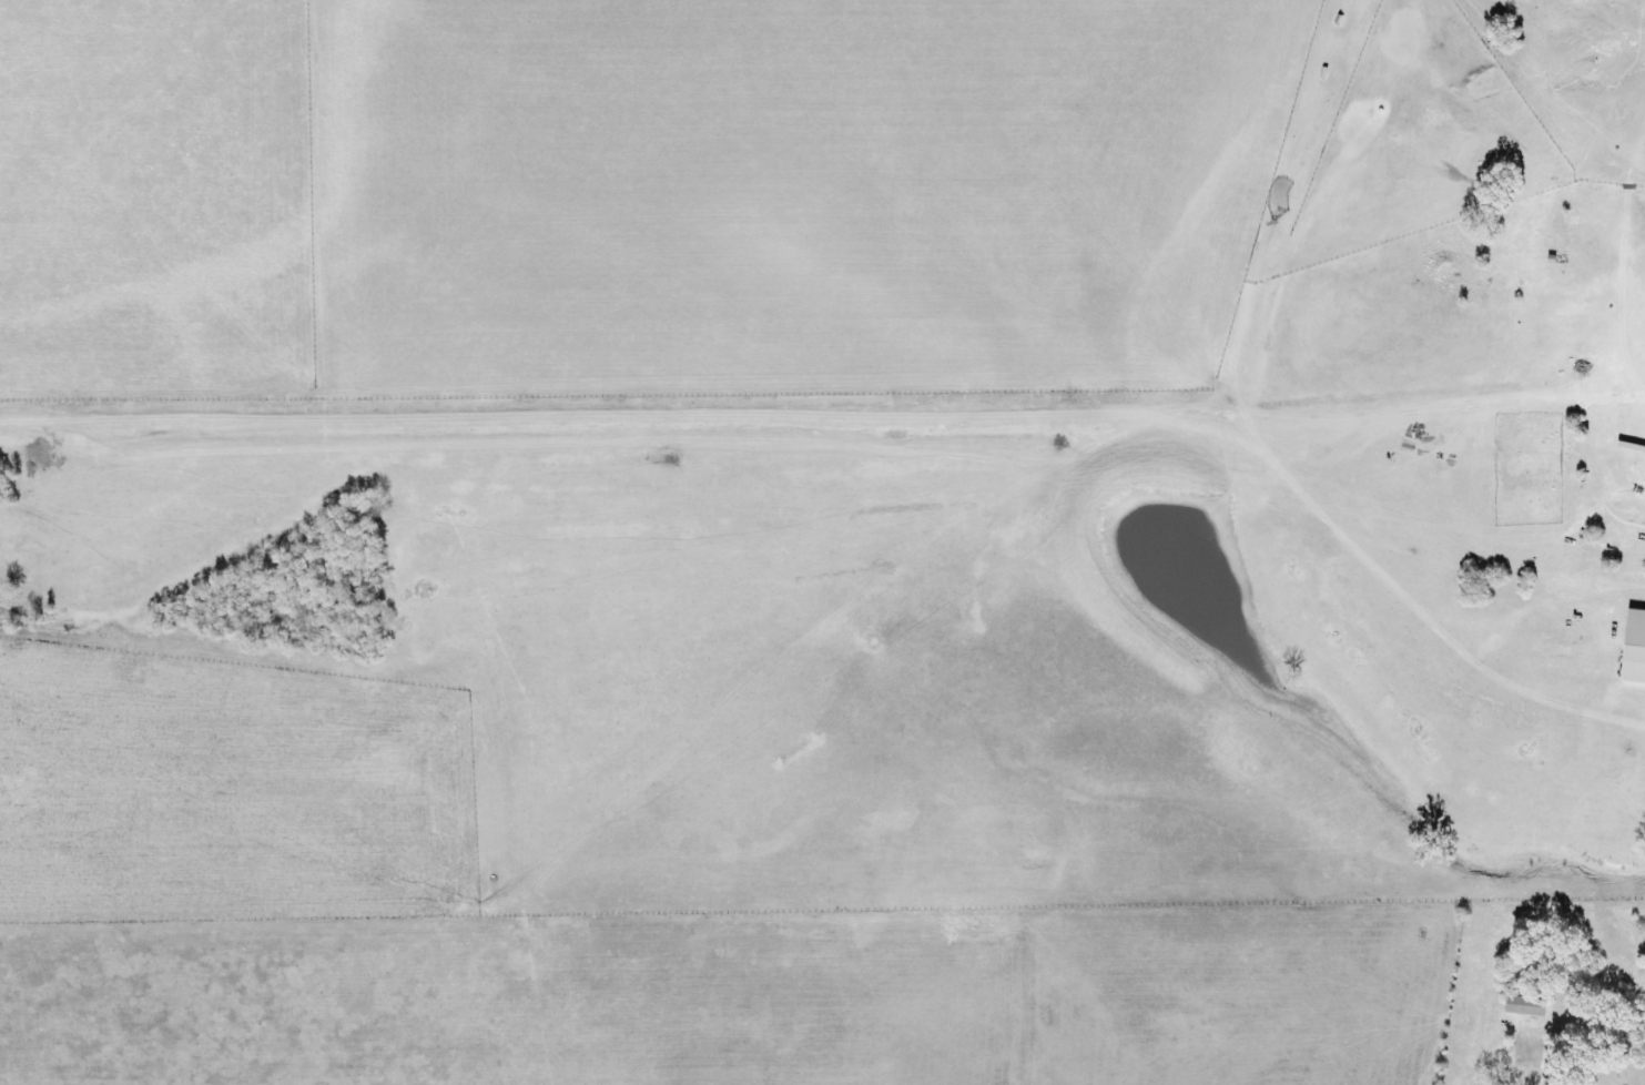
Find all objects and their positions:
building: (1635, 648)
building: (1526, 1006)

